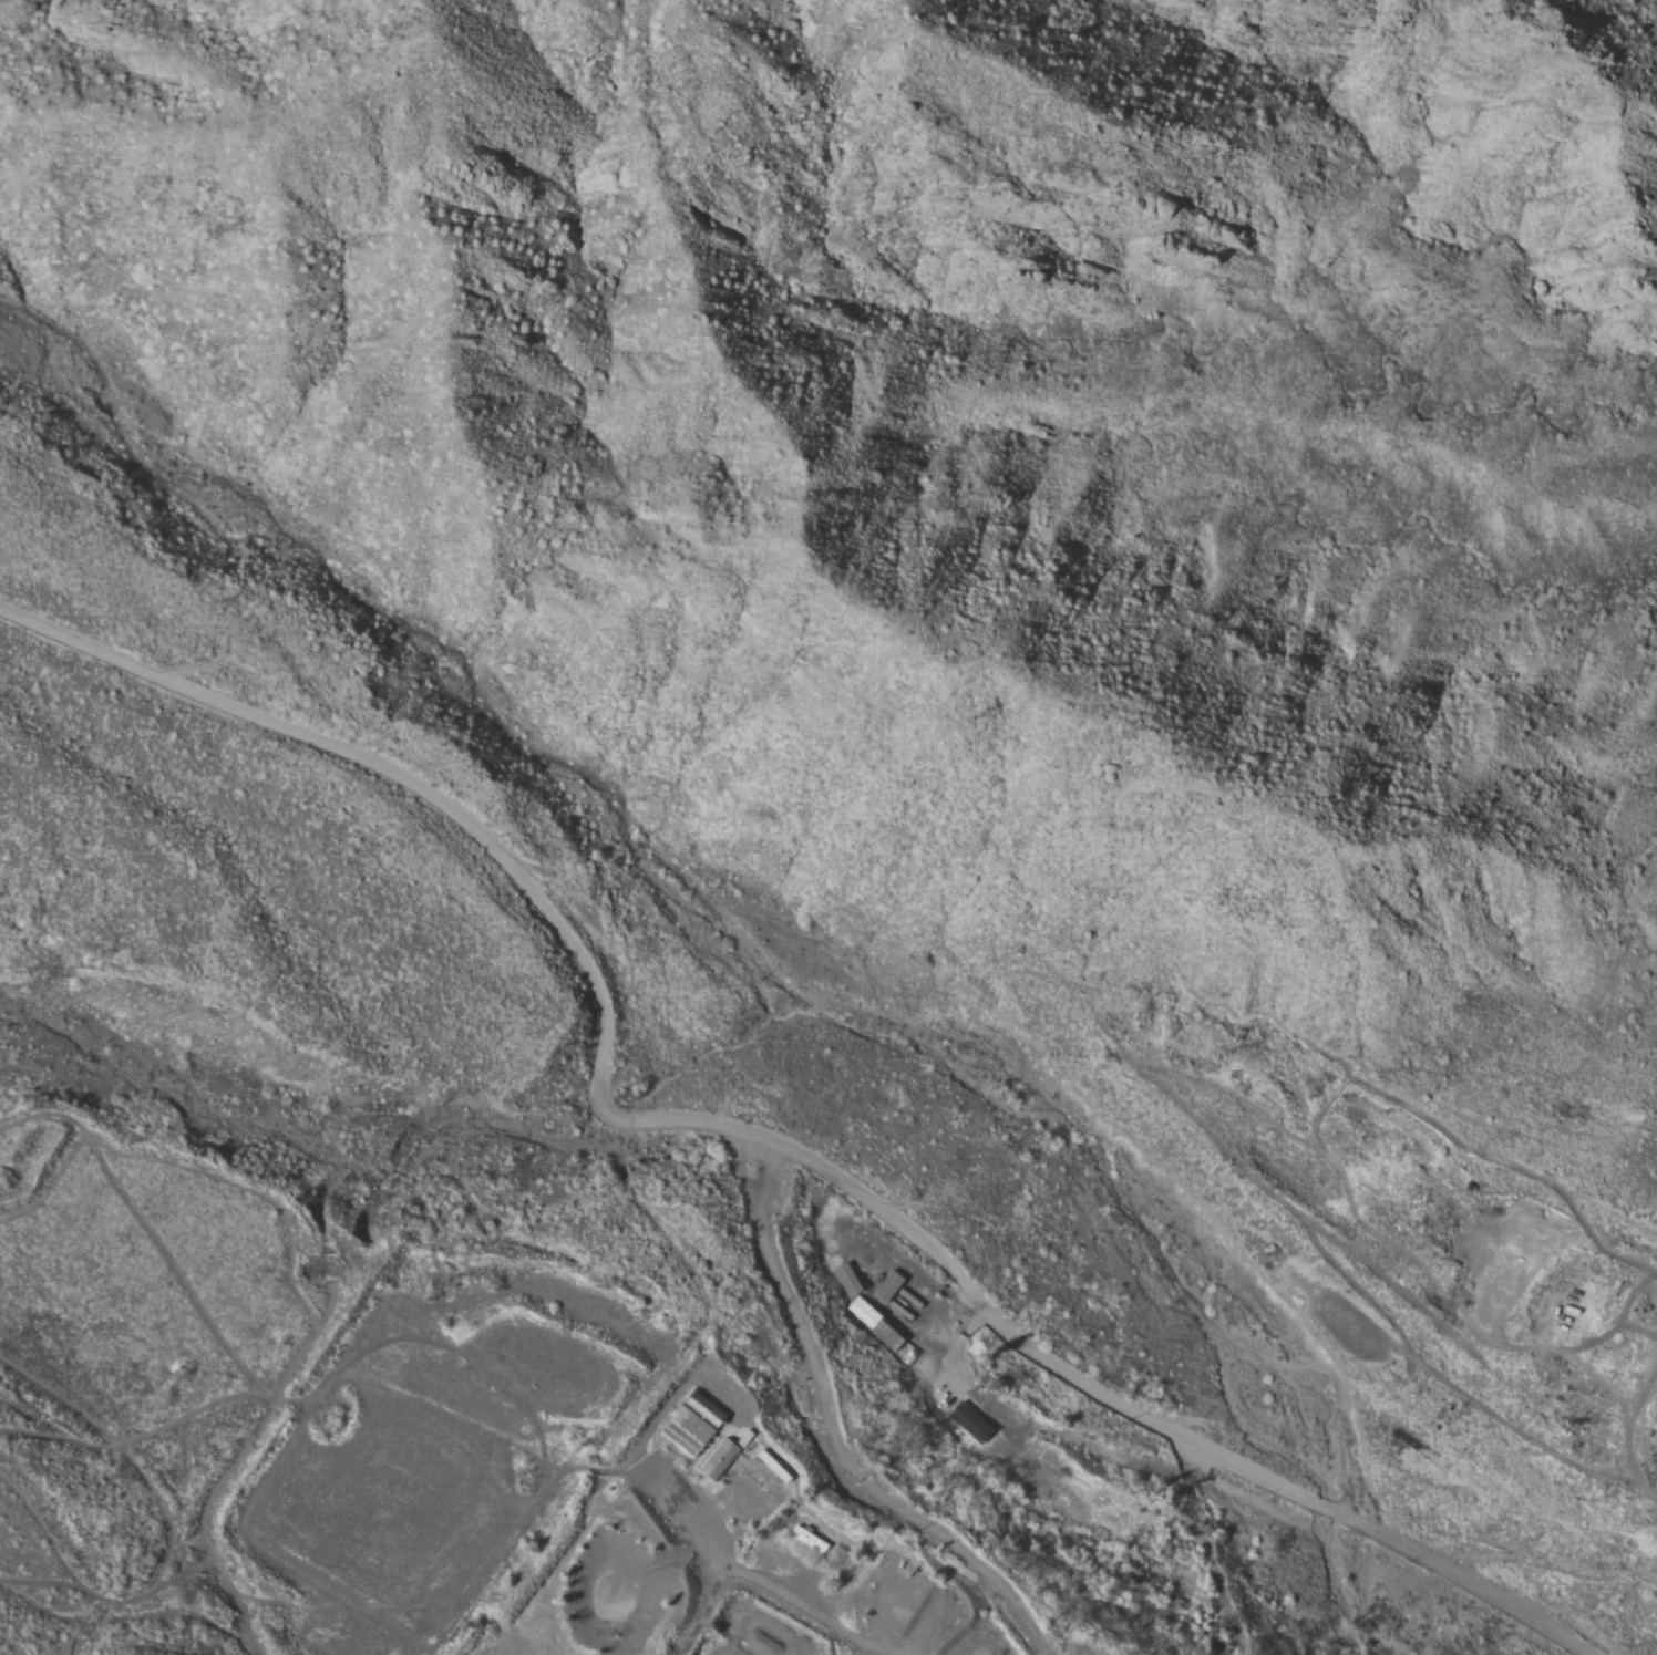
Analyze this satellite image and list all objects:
road: (748, 1134)
building: (971, 1423)
road: (842, 1430)
road: (1599, 1432)
building: (720, 1460)
road: (759, 1580)
road: (875, 1653)

